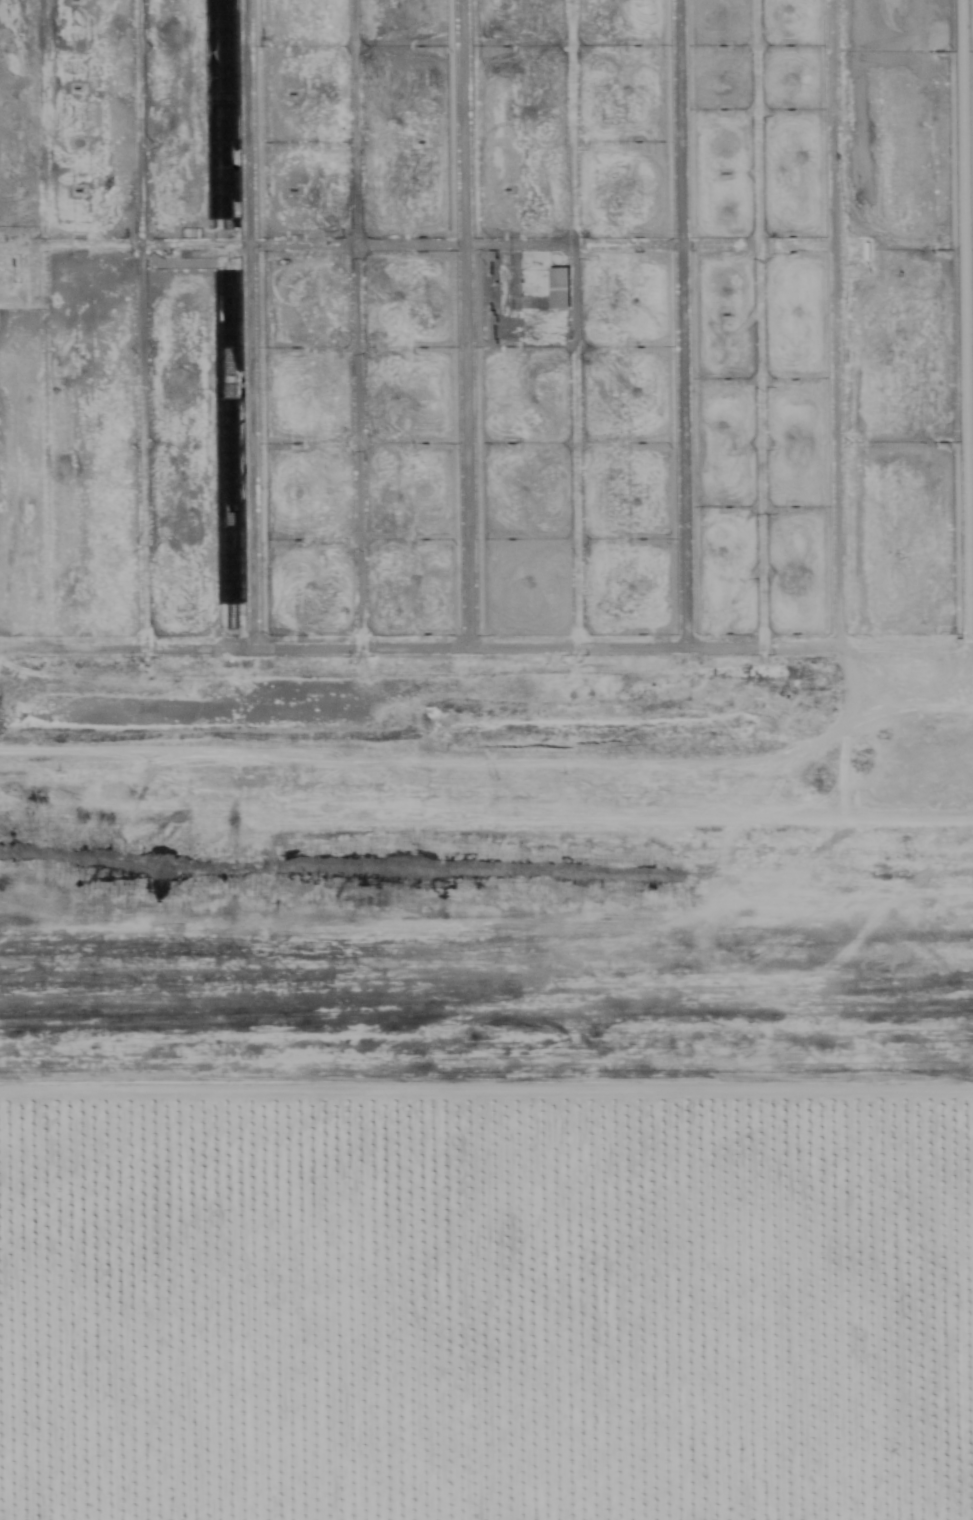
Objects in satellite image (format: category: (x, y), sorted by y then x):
building: (555, 287)

